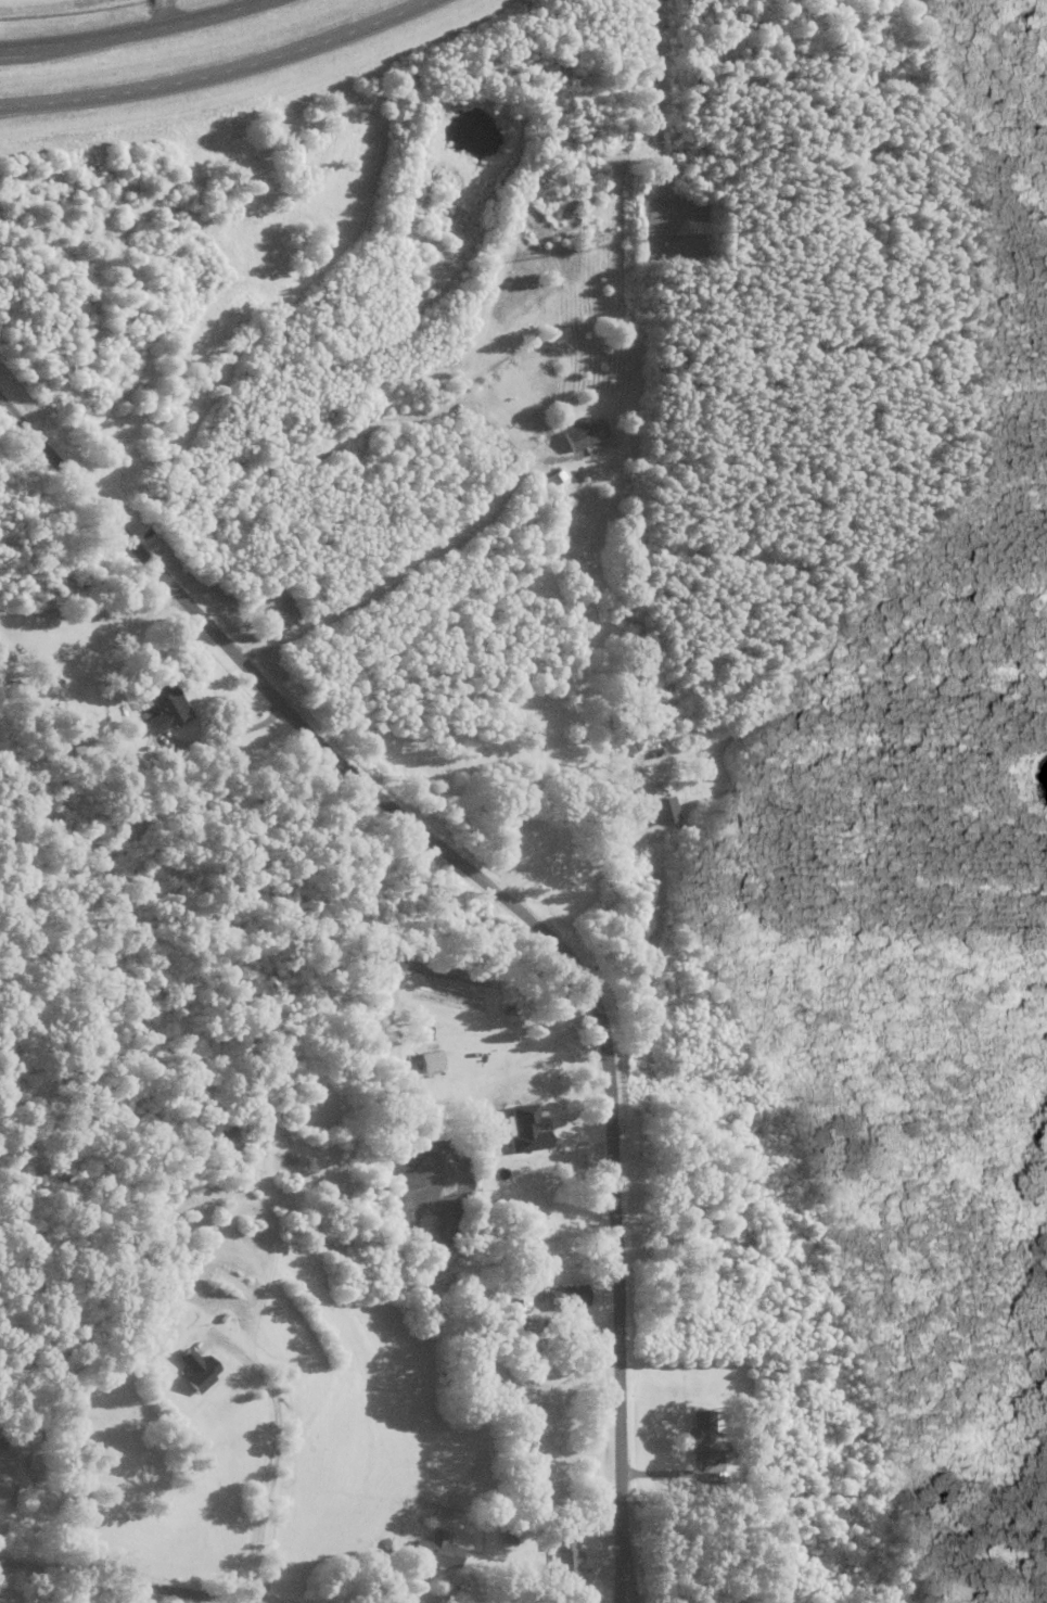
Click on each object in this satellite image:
road: (136, 33)
road: (216, 72)
building: (579, 434)
building: (552, 479)
building: (159, 709)
building: (661, 812)
road: (518, 908)
building: (224, 1136)
building: (154, 1238)
building: (560, 1298)
building: (188, 1372)
building: (695, 1433)
road: (271, 1454)
building: (2, 1479)
road: (762, 1493)
building: (432, 1554)
building: (557, 1559)
road: (123, 1583)

